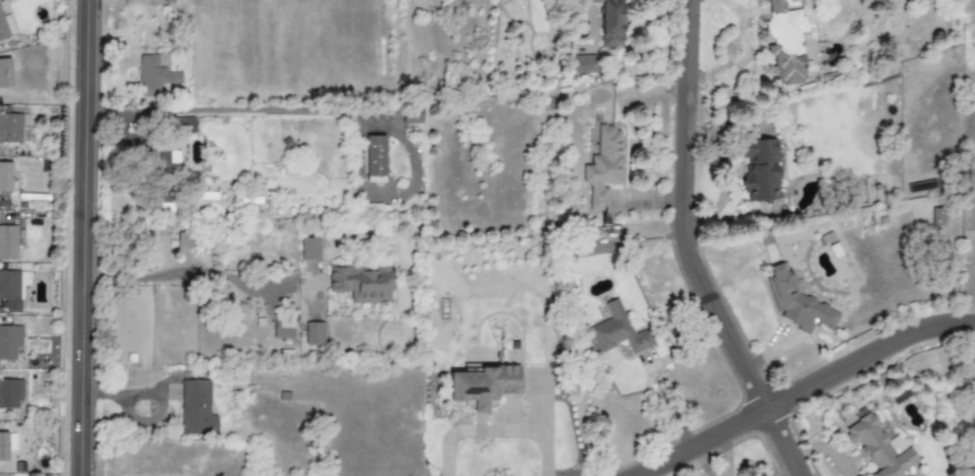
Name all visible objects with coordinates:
building: (609, 22)
building: (2, 30)
building: (785, 42)
building: (583, 64)
building: (5, 73)
building: (154, 76)
road: (341, 111)
building: (411, 114)
building: (183, 125)
building: (10, 128)
building: (164, 158)
building: (374, 159)
building: (604, 167)
building: (759, 168)
building: (5, 176)
road: (685, 206)
building: (936, 215)
road: (86, 237)
building: (8, 242)
building: (309, 249)
road: (190, 272)
building: (361, 282)
building: (12, 288)
building: (798, 303)
building: (282, 330)
building: (618, 332)
building: (313, 333)
building: (9, 341)
road: (788, 383)
building: (483, 384)
building: (196, 408)
road: (497, 429)
road: (785, 436)
building: (897, 444)
building: (3, 446)
building: (879, 449)
road: (543, 452)

